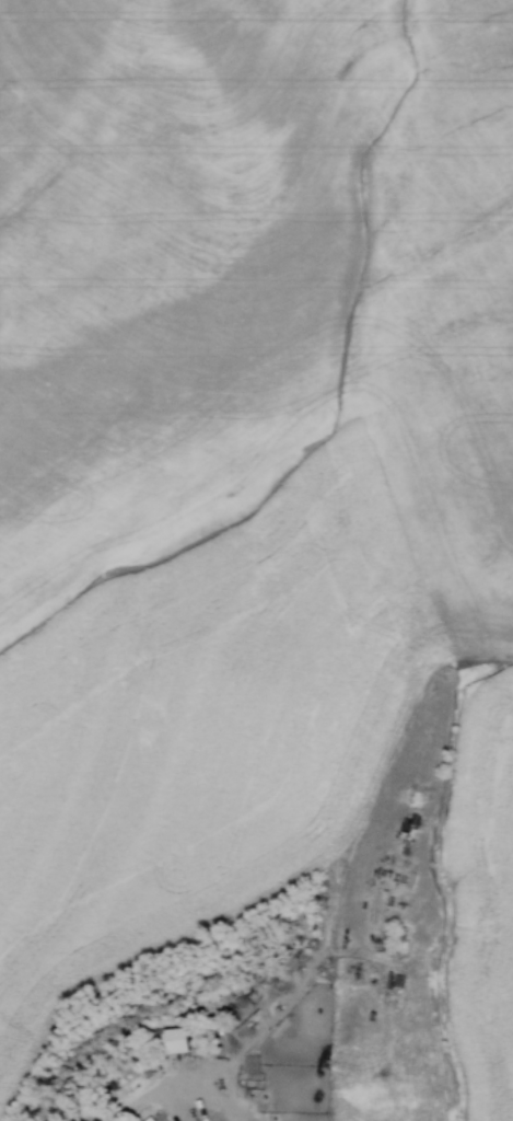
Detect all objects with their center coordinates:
building: (393, 934)
building: (172, 1040)
building: (249, 1064)
road: (175, 1095)
building: (147, 1119)

